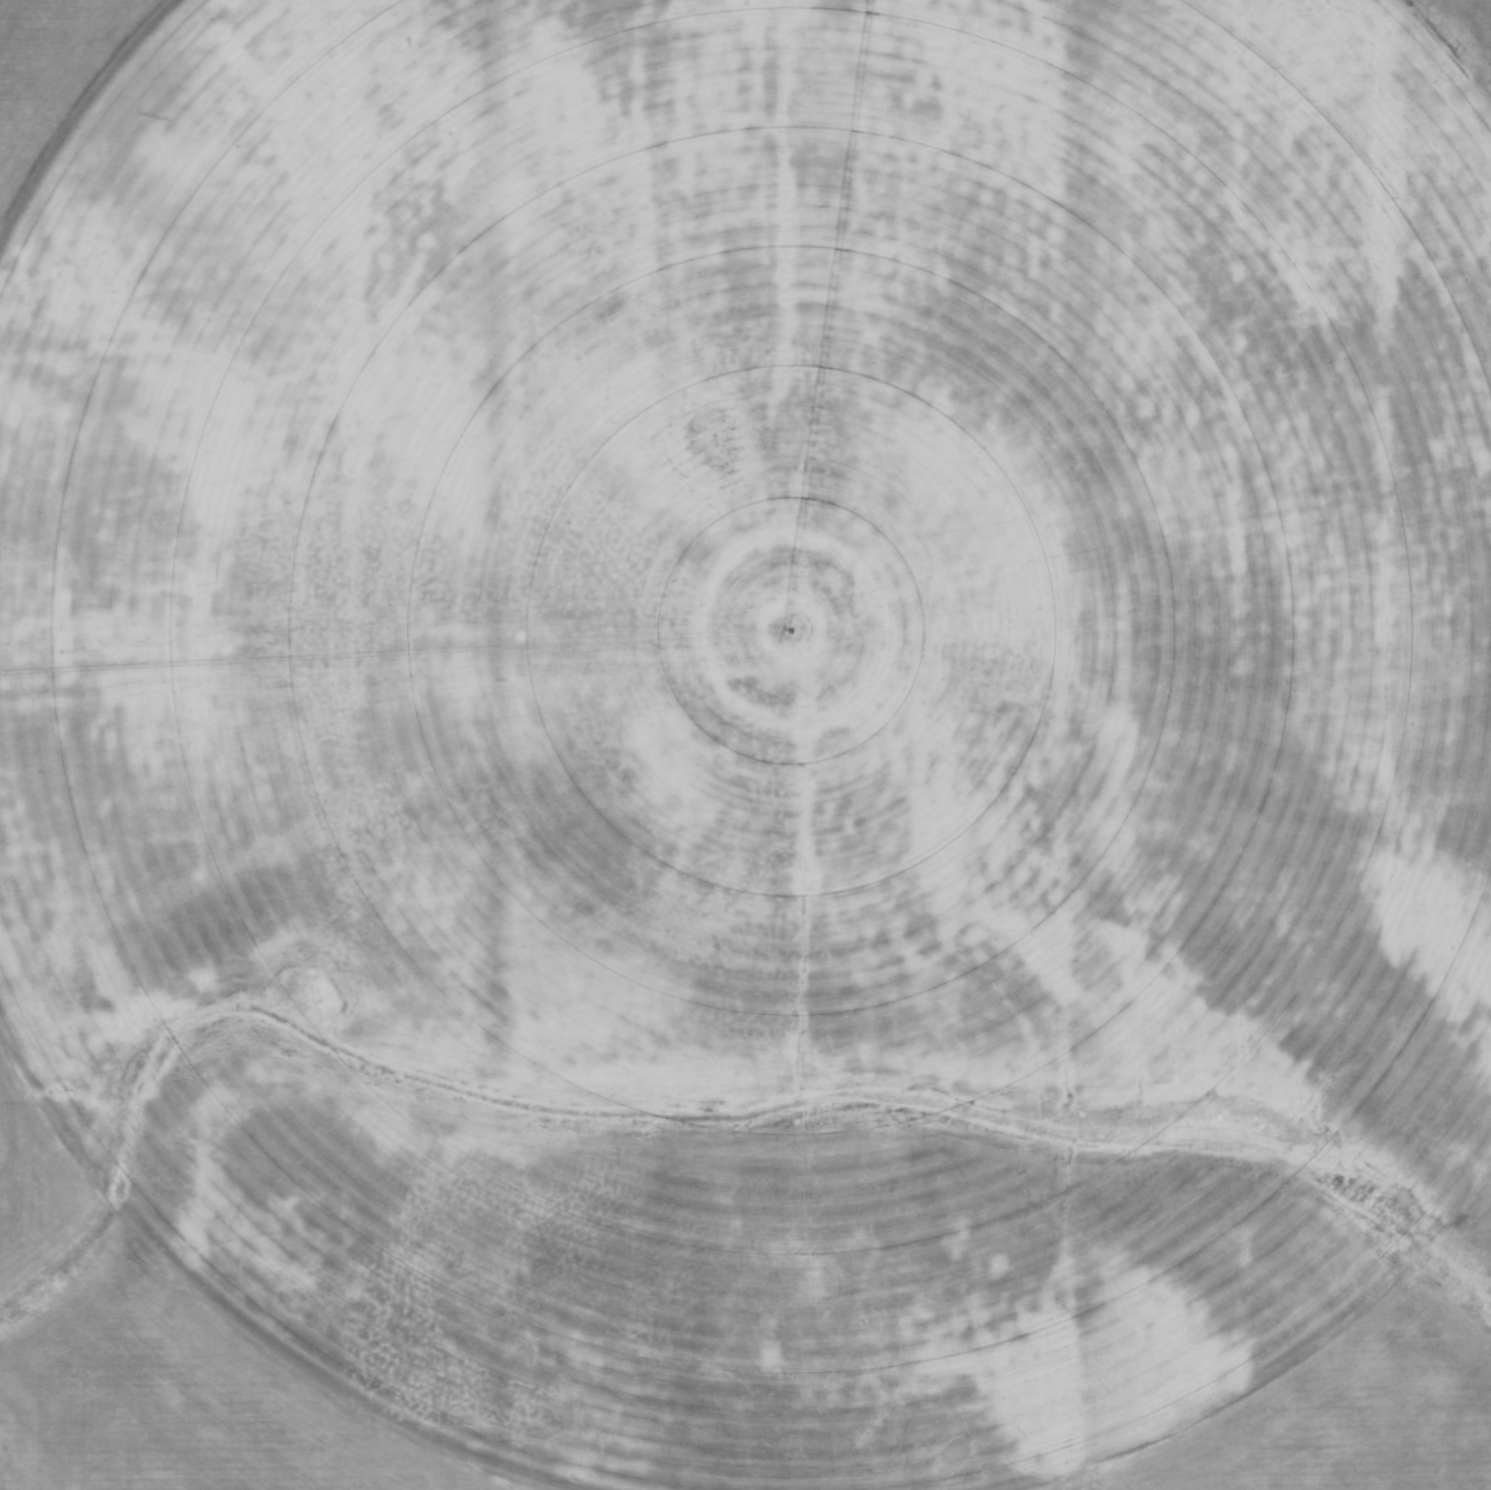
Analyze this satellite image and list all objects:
crop: (745, 745)

